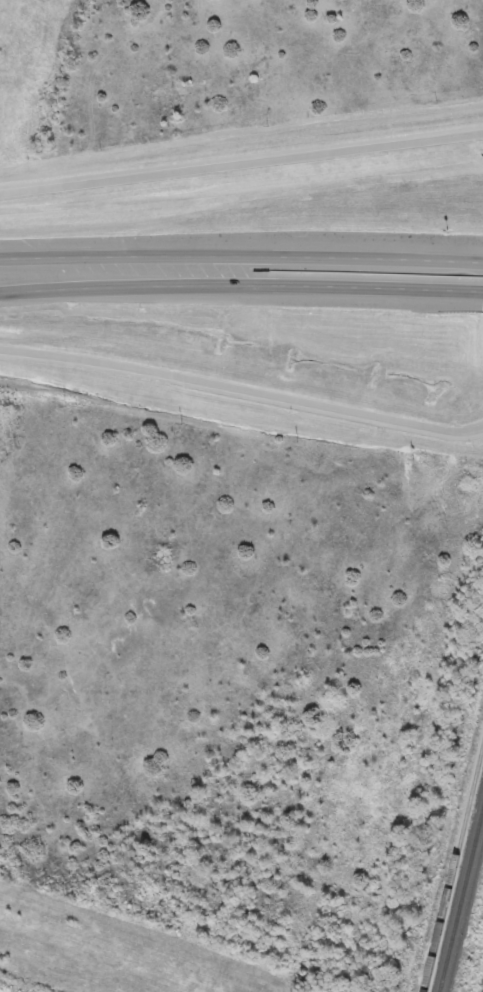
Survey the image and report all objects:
road: (241, 163)
building: (42, 212)
road: (379, 257)
road: (138, 258)
road: (241, 289)
road: (242, 394)
railway: (454, 871)
railway: (463, 907)

